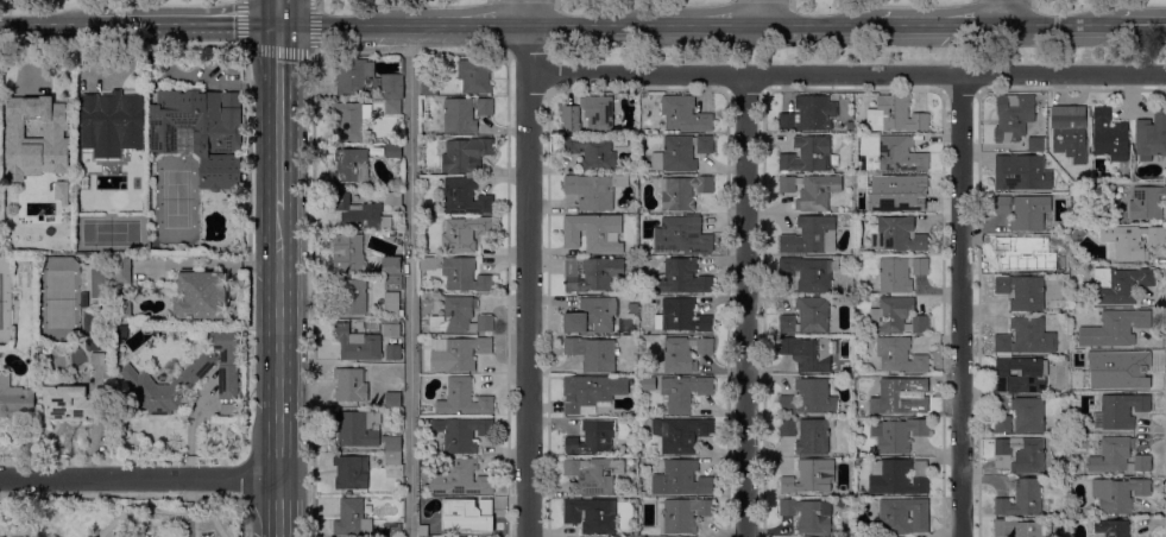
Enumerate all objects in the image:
road: (278, 11)
road: (525, 12)
road: (761, 12)
road: (1004, 12)
road: (48, 23)
road: (187, 23)
traffic signals: (278, 23)
road: (340, 23)
road: (465, 24)
road: (588, 24)
road: (705, 24)
road: (820, 24)
road: (943, 25)
road: (1061, 25)
road: (1129, 25)
road: (1153, 25)
road: (279, 50)
building: (352, 76)
road: (846, 76)
building: (473, 77)
building: (392, 87)
building: (429, 88)
building: (393, 107)
building: (598, 112)
building: (465, 114)
building: (808, 114)
road: (278, 115)
building: (683, 115)
building: (895, 116)
building: (1014, 118)
building: (351, 120)
building: (111, 122)
building: (572, 124)
building: (1067, 129)
building: (201, 132)
building: (1110, 137)
building: (1152, 137)
building: (36, 138)
building: (1038, 145)
building: (392, 151)
building: (592, 152)
building: (681, 152)
building: (466, 154)
building: (807, 154)
building: (900, 154)
building: (351, 165)
building: (1021, 172)
building: (1072, 188)
building: (811, 190)
building: (61, 191)
building: (591, 191)
building: (683, 191)
building: (897, 192)
building: (1076, 194)
building: (465, 196)
building: (393, 198)
building: (82, 203)
building: (1146, 203)
building: (8, 208)
building: (1025, 211)
building: (359, 213)
building: (593, 233)
building: (465, 234)
building: (897, 234)
building: (682, 235)
building: (809, 235)
building: (1078, 235)
building: (1130, 241)
building: (424, 248)
building: (632, 251)
building: (348, 252)
building: (1022, 254)
building: (393, 267)
building: (121, 271)
building: (459, 273)
building: (592, 273)
building: (808, 273)
building: (900, 273)
building: (681, 277)
road: (529, 279)
building: (1065, 279)
road: (410, 280)
building: (395, 283)
building: (1117, 284)
building: (849, 289)
building: (1022, 292)
building: (200, 295)
road: (311, 295)
building: (351, 296)
building: (84, 299)
building: (393, 305)
road: (745, 307)
road: (960, 307)
building: (121, 308)
building: (895, 315)
building: (460, 316)
building: (592, 316)
building: (681, 316)
building: (807, 316)
building: (391, 328)
building: (1116, 328)
building: (1026, 337)
building: (357, 343)
building: (393, 352)
building: (465, 353)
building: (683, 353)
building: (809, 353)
building: (593, 354)
building: (900, 355)
building: (227, 362)
building: (101, 368)
road: (279, 372)
building: (1118, 372)
building: (1021, 375)
building: (165, 385)
building: (351, 385)
building: (591, 392)
building: (680, 392)
building: (464, 398)
building: (809, 398)
building: (897, 398)
building: (17, 399)
building: (392, 399)
building: (67, 400)
building: (228, 411)
building: (1122, 411)
building: (1028, 415)
building: (1003, 424)
building: (357, 429)
building: (462, 434)
building: (681, 434)
building: (808, 434)
building: (897, 435)
building: (593, 437)
building: (392, 443)
building: (1021, 455)
building: (1120, 456)
building: (393, 459)
building: (351, 472)
building: (594, 474)
building: (811, 476)
building: (899, 478)
road: (140, 479)
building: (460, 479)
building: (681, 479)
building: (1118, 494)
building: (1025, 500)
road: (189, 507)
building: (788, 507)
building: (468, 514)
building: (592, 514)
building: (685, 514)
building: (902, 516)
building: (815, 517)
building: (352, 518)
building: (393, 520)
building: (424, 527)
building: (1111, 527)
building: (1021, 529)
building: (378, 530)
building: (393, 530)

